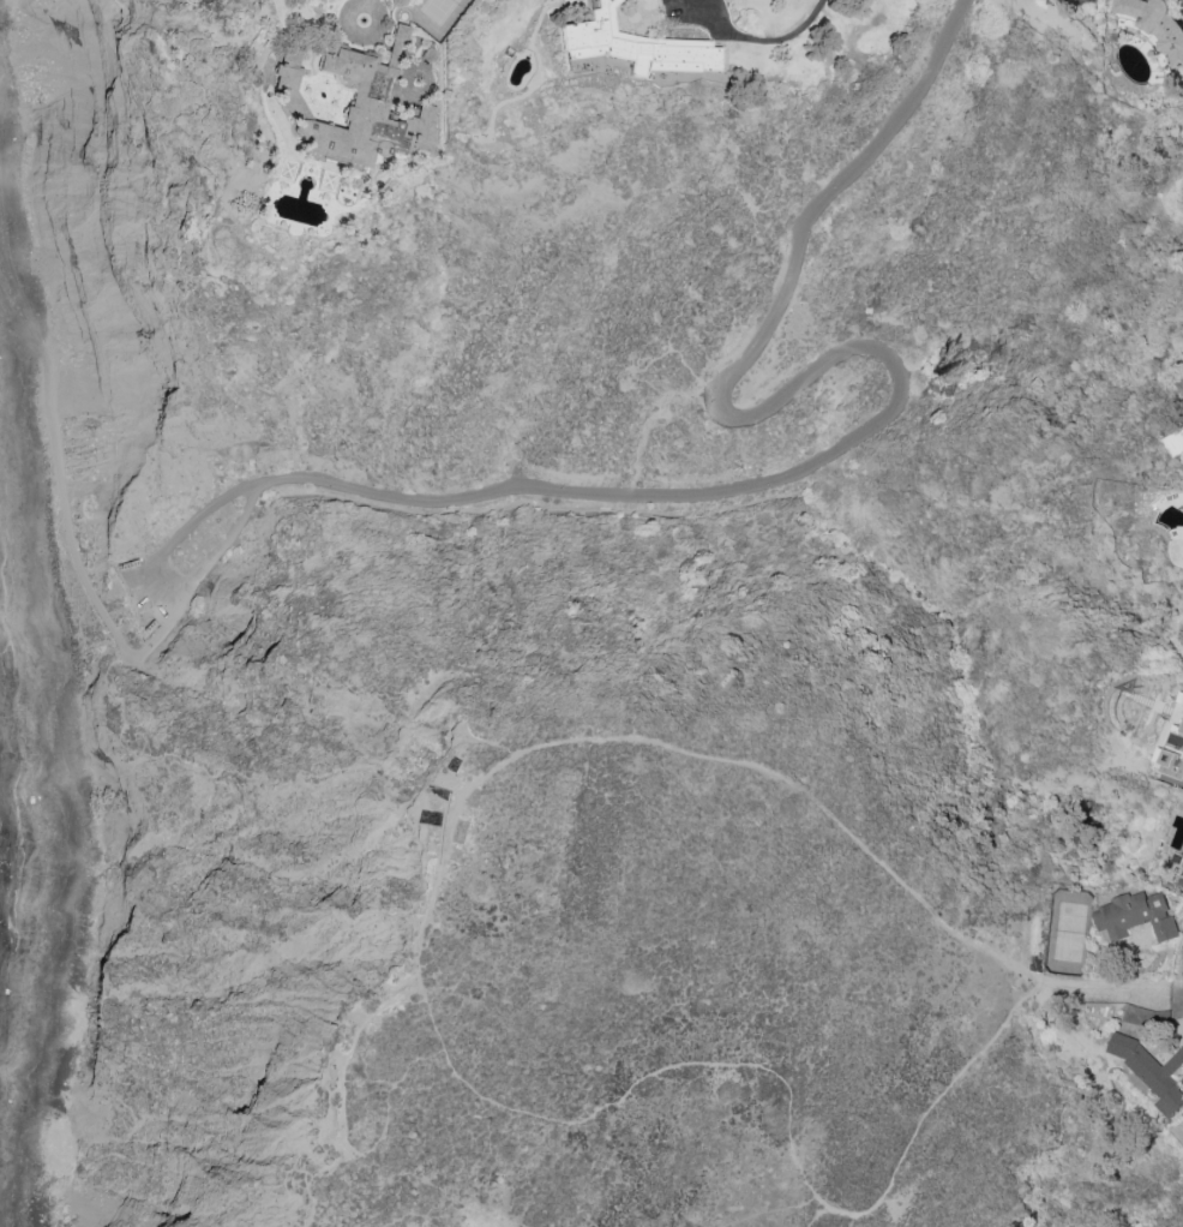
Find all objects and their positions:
road: (367, 0)
park: (437, 14)
road: (380, 16)
parking lot: (699, 16)
fountain: (365, 18)
road: (538, 24)
building: (1153, 25)
road: (643, 36)
road: (380, 40)
road: (762, 41)
road: (396, 44)
building: (636, 46)
road: (624, 66)
road: (731, 71)
road: (418, 76)
road: (510, 100)
building: (356, 107)
road: (343, 115)
road: (496, 138)
road: (312, 198)
road: (901, 371)
road: (59, 480)
road: (161, 597)
parking lot: (146, 600)
road: (125, 651)
building: (1170, 741)
building: (1181, 875)
building: (1131, 915)
road: (418, 952)
road: (1176, 998)
building: (1151, 1069)
road: (347, 1137)
road: (817, 1217)

